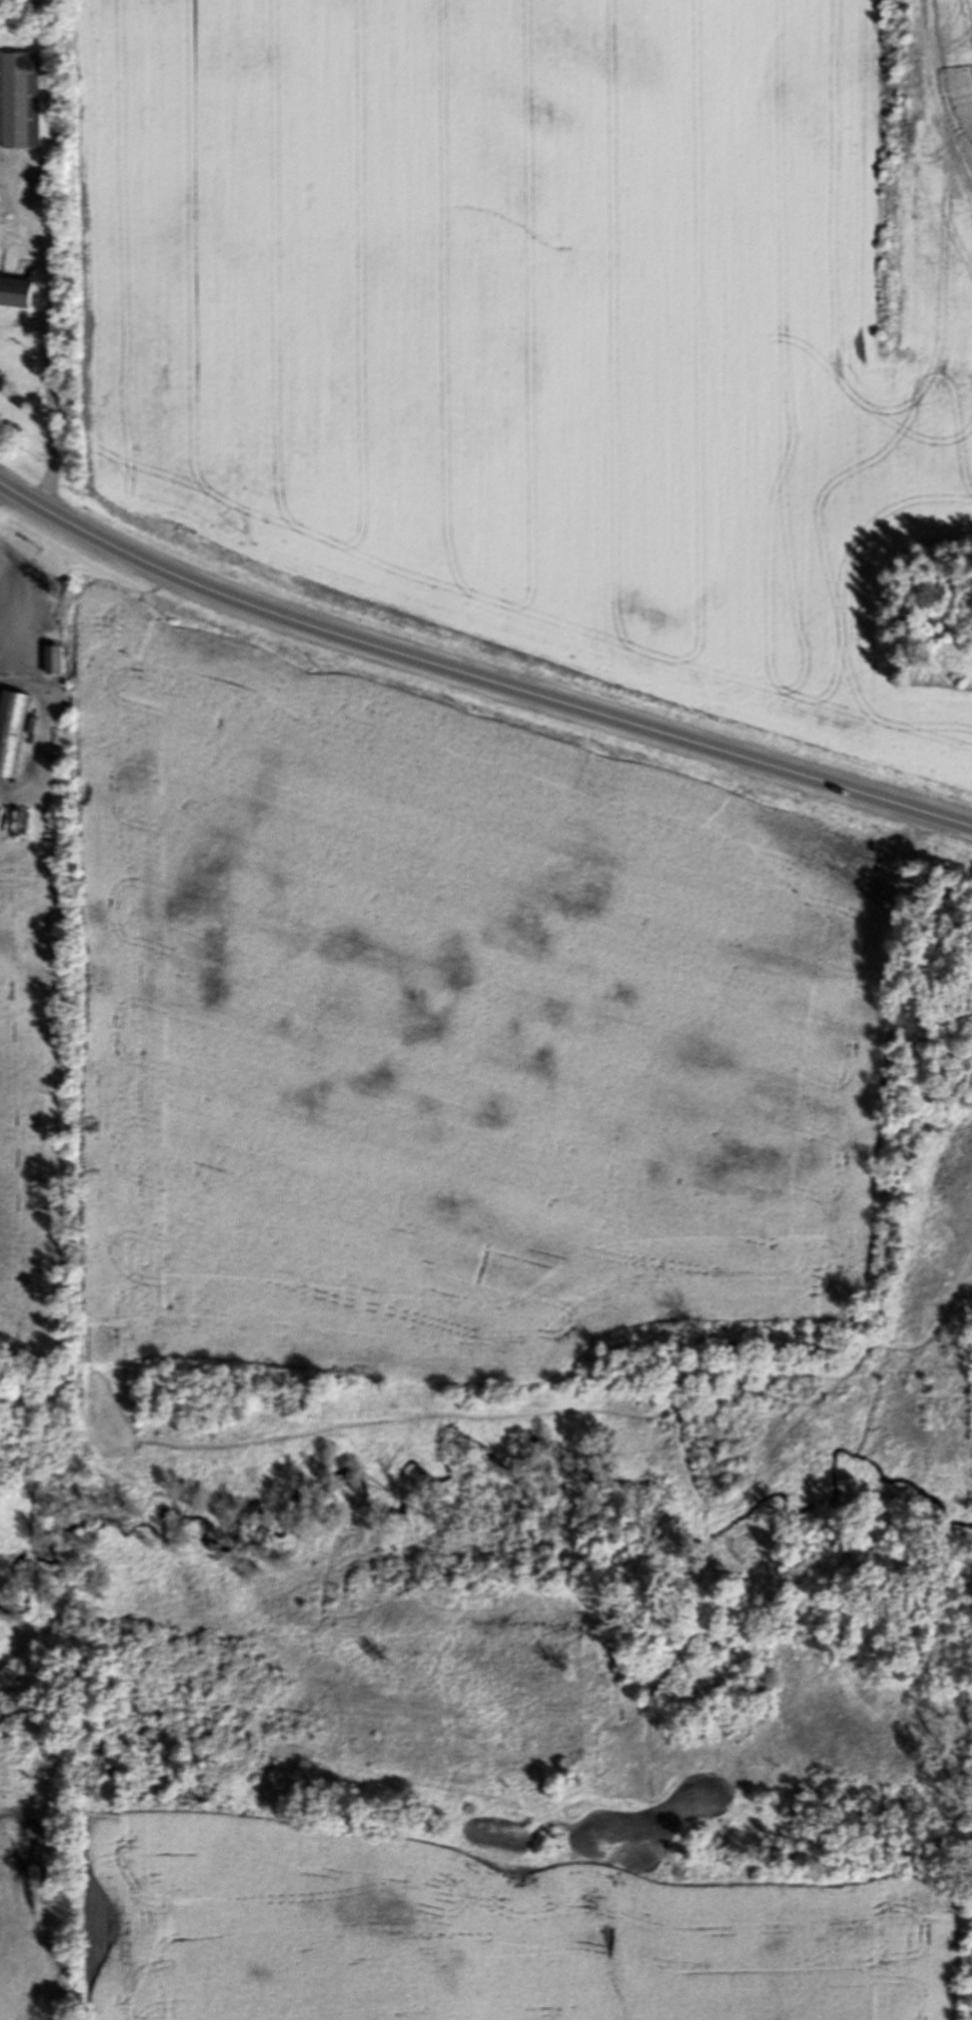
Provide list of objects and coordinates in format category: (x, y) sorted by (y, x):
building: (19, 104)
building: (21, 299)
road: (45, 393)
building: (52, 665)
road: (476, 679)
road: (34, 688)
building: (11, 734)

